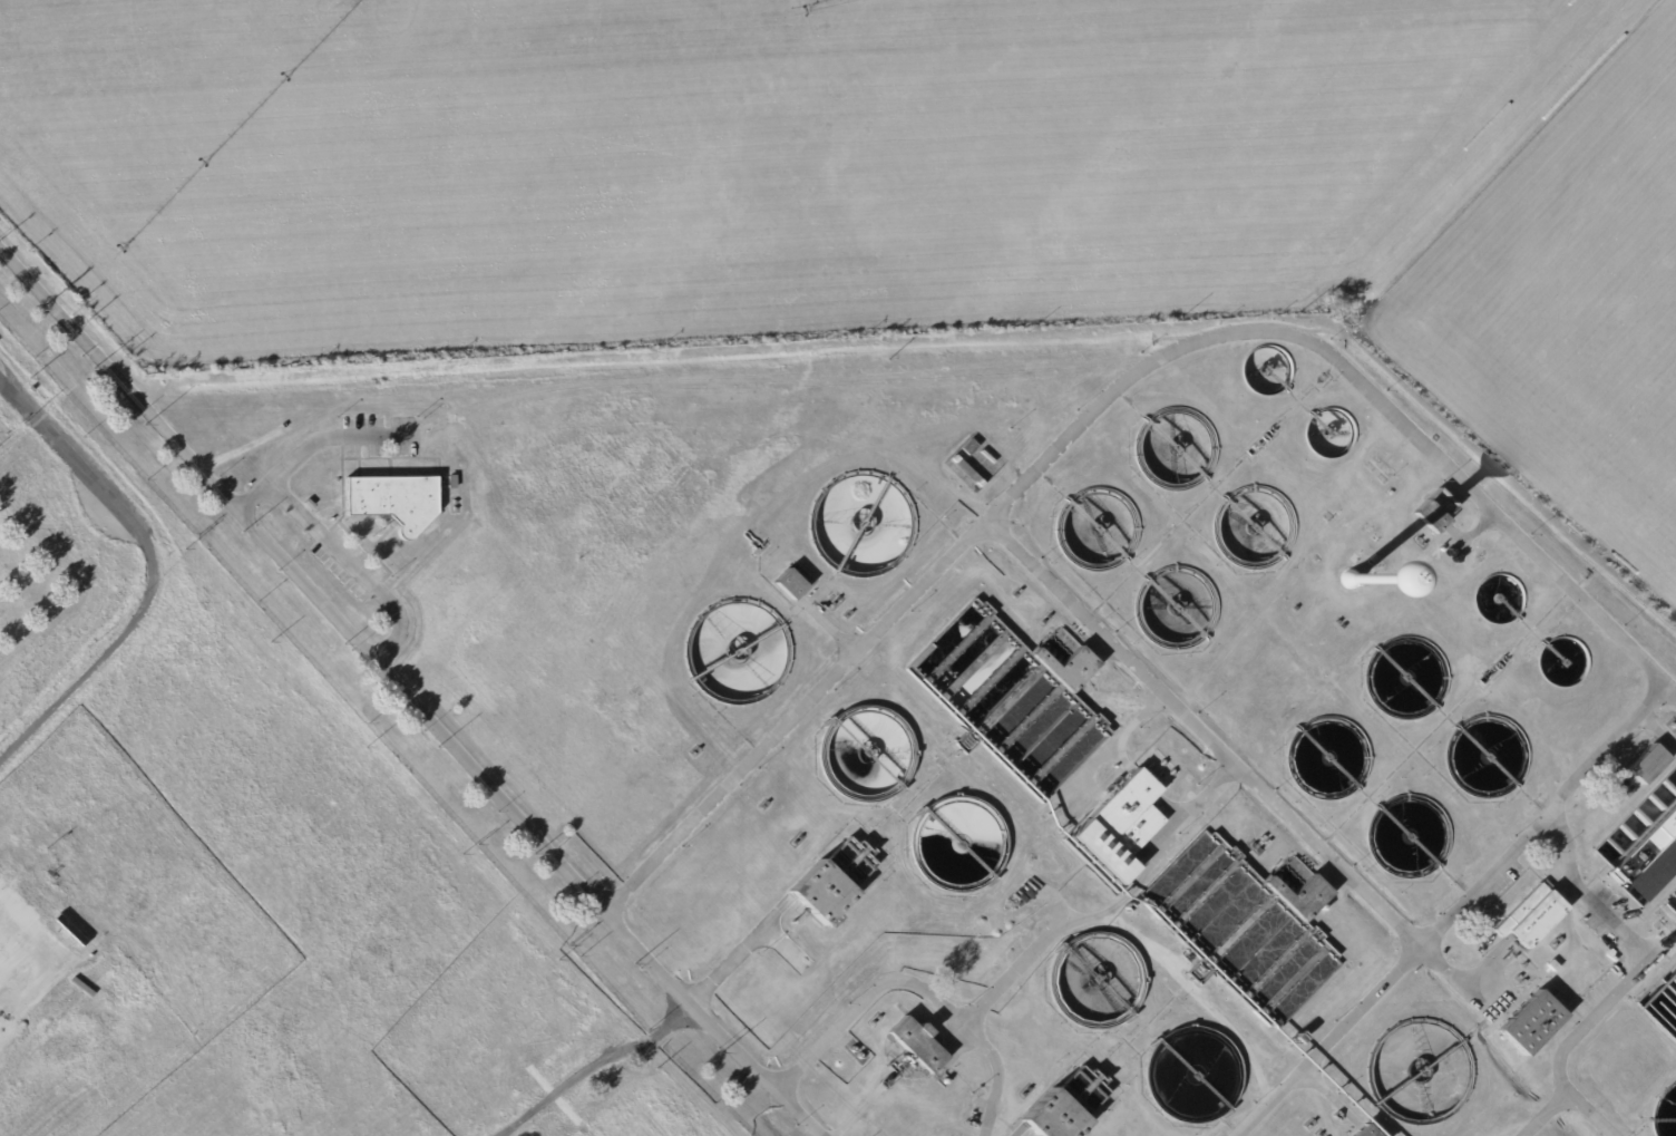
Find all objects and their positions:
crop: (889, 188)
road: (1, 377)
road: (1356, 377)
road: (675, 386)
power plant: (4, 436)
building: (1017, 437)
building: (969, 447)
building: (986, 457)
building: (966, 470)
building: (394, 502)
building: (1438, 513)
building: (1455, 554)
road: (357, 567)
road: (155, 569)
building: (1349, 577)
water tower: (1346, 580)
building: (790, 584)
building: (1069, 667)
road: (407, 696)
wastewater plant: (986, 711)
road: (796, 715)
road: (1111, 742)
building: (698, 754)
road: (1235, 765)
building: (1647, 765)
building: (1119, 827)
building: (1647, 849)
building: (818, 892)
building: (1303, 896)
road: (1046, 904)
road: (1113, 906)
road: (1459, 915)
building: (1531, 916)
road: (738, 960)
building: (1303, 964)
building: (1553, 967)
road: (1629, 981)
road: (918, 987)
building: (1532, 1023)
building: (916, 1043)
road: (593, 1066)
road: (1329, 1094)
road: (852, 1111)
road: (1550, 1117)
building: (1052, 1118)
building: (1366, 1132)

